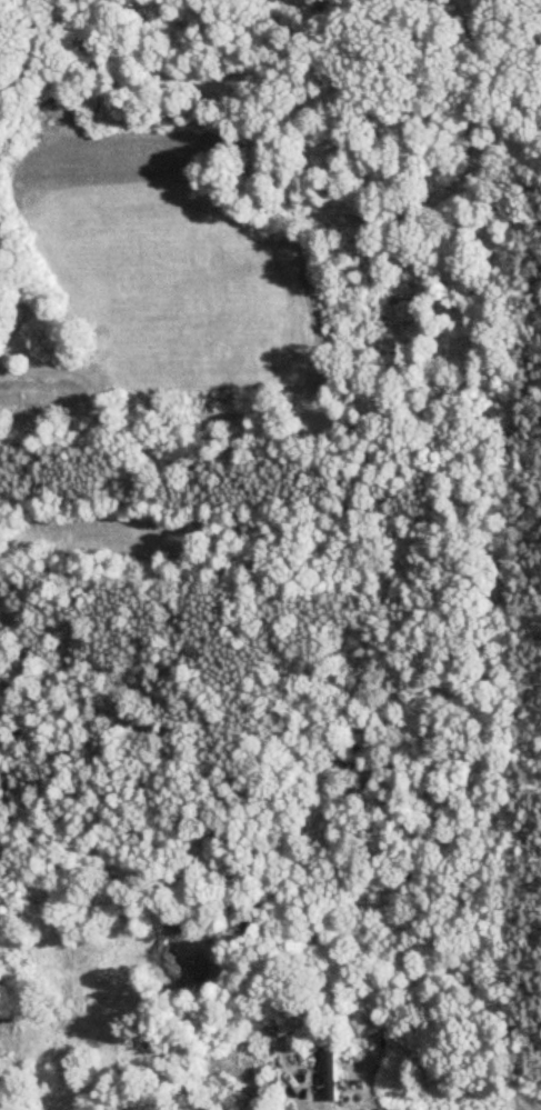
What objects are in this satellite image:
building: (329, 1077)

